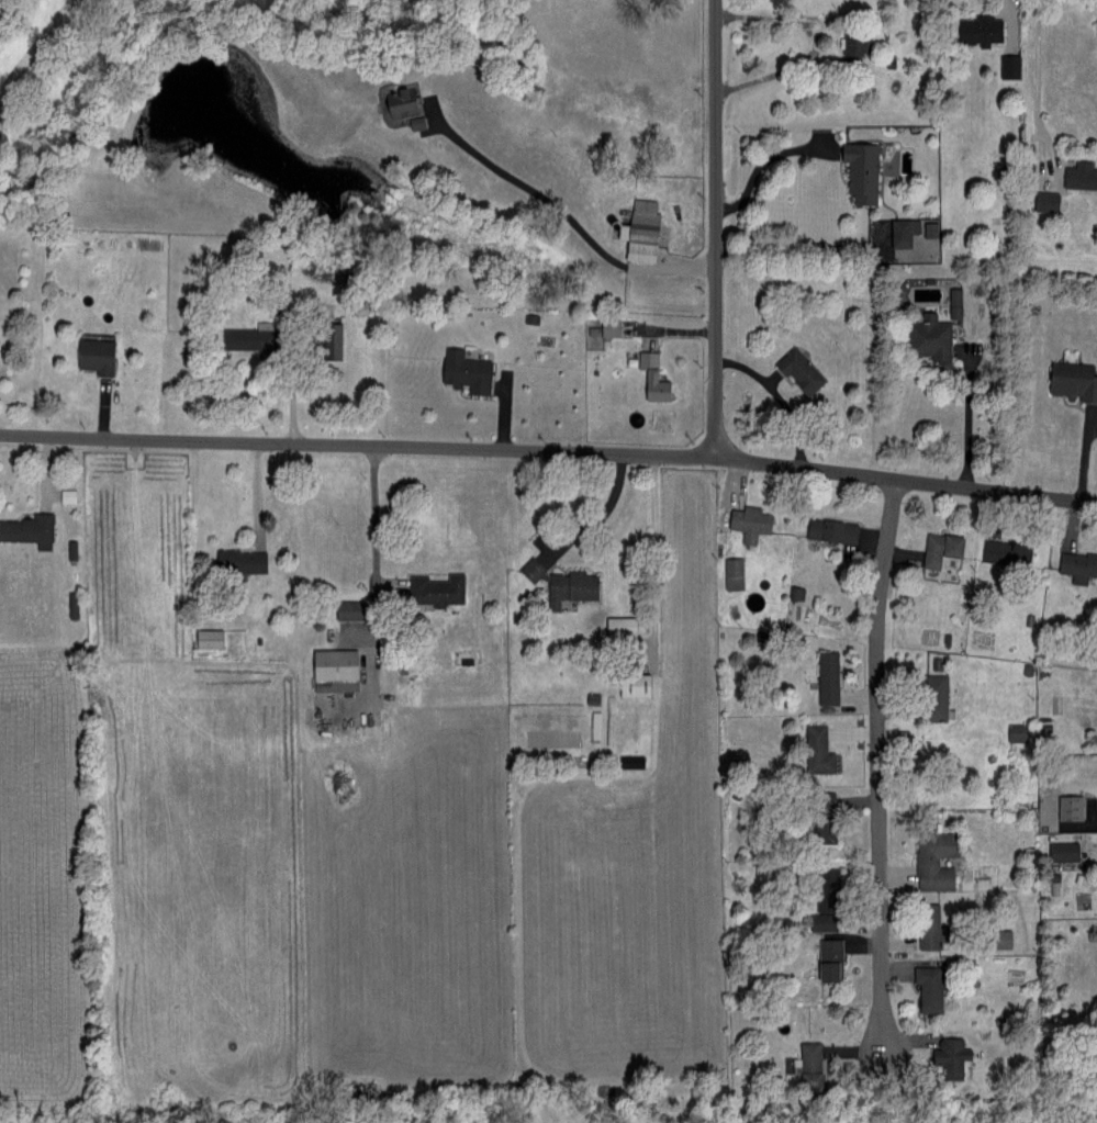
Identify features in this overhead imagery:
building: (975, 29)
road: (814, 42)
building: (850, 45)
building: (1007, 65)
road: (1044, 90)
building: (400, 103)
road: (763, 157)
building: (858, 169)
building: (1078, 175)
building: (1043, 200)
road: (566, 216)
road: (713, 228)
building: (637, 229)
building: (899, 231)
building: (606, 326)
building: (239, 338)
building: (927, 338)
building: (327, 339)
building: (91, 355)
building: (795, 369)
building: (462, 370)
building: (649, 377)
building: (1071, 380)
road: (299, 392)
road: (970, 420)
road: (356, 445)
road: (1085, 459)
road: (904, 481)
building: (63, 494)
road: (260, 514)
road: (602, 517)
building: (742, 521)
building: (26, 529)
building: (828, 529)
road: (198, 534)
road: (382, 542)
building: (938, 548)
building: (1003, 552)
building: (236, 560)
road: (656, 562)
building: (1077, 564)
building: (527, 569)
building: (730, 573)
building: (566, 587)
building: (433, 588)
building: (616, 625)
building: (204, 637)
building: (331, 670)
building: (825, 677)
building: (630, 684)
building: (931, 697)
building: (1014, 731)
building: (1096, 734)
building: (815, 750)
building: (1066, 806)
road: (878, 811)
building: (820, 832)
building: (1061, 851)
building: (930, 860)
building: (824, 885)
building: (926, 925)
building: (996, 939)
building: (827, 958)
building: (926, 987)
building: (945, 1057)
building: (805, 1066)

